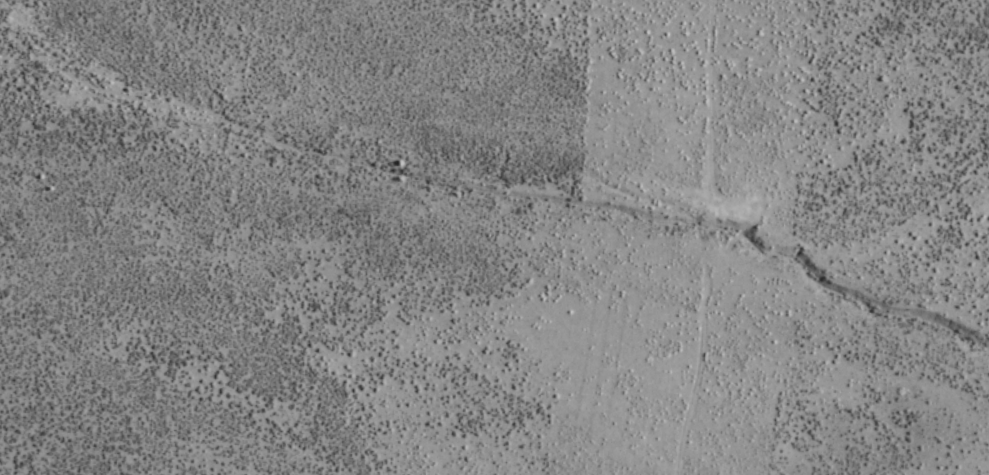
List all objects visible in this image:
crop: (428, 146)
road: (706, 238)

